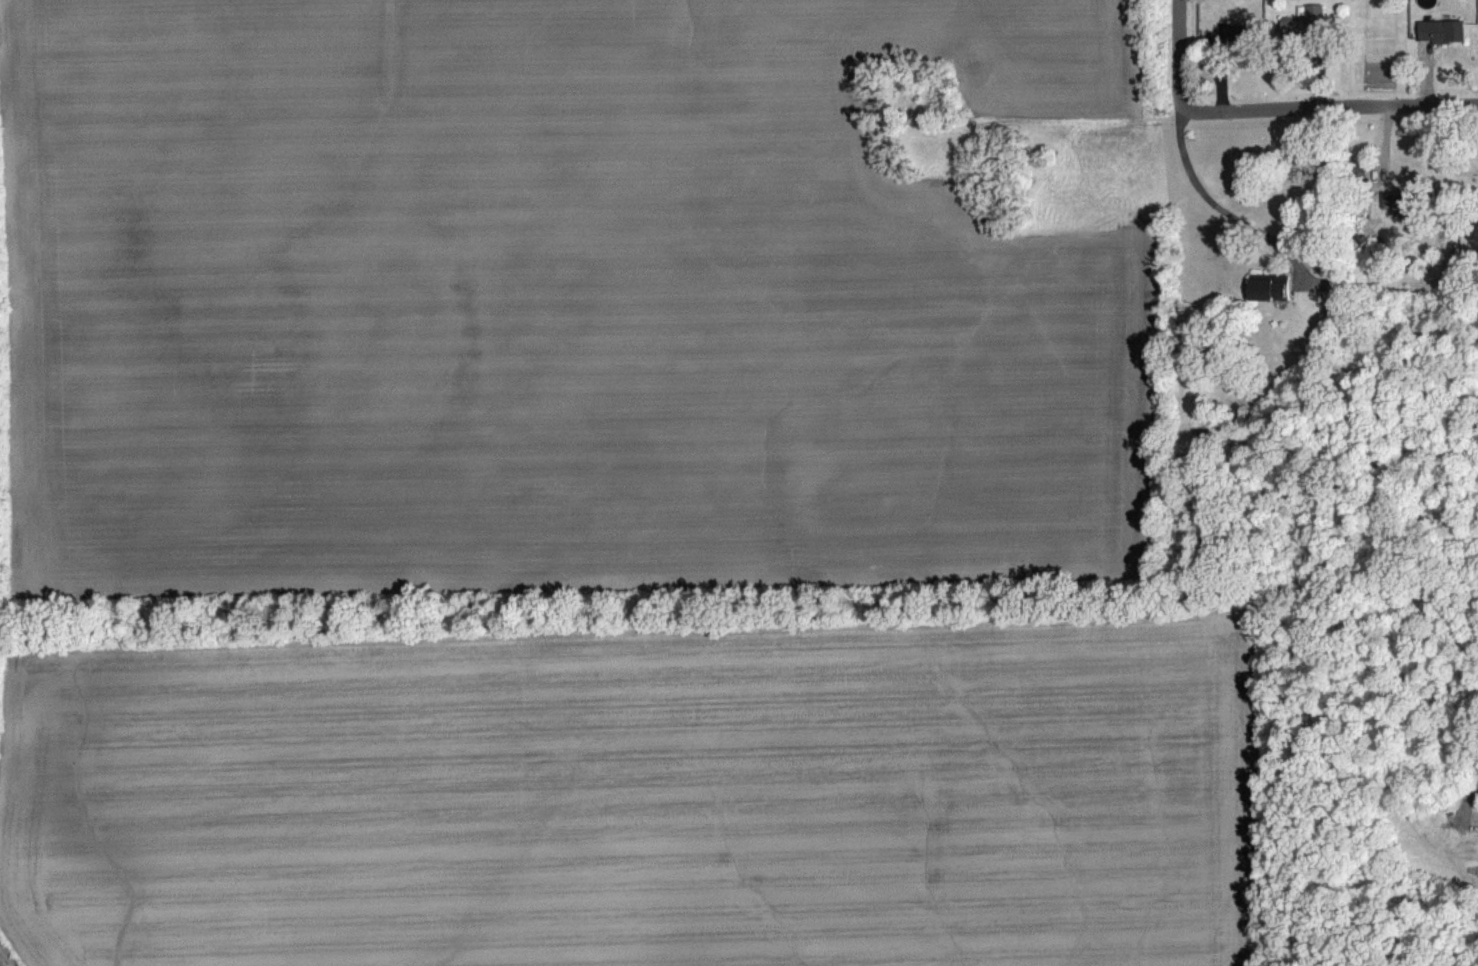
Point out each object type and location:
building: (1304, 36)
building: (1443, 43)
road: (1178, 57)
road: (1328, 110)
road: (1212, 202)
building: (1402, 213)
building: (1270, 299)
road: (1467, 811)

